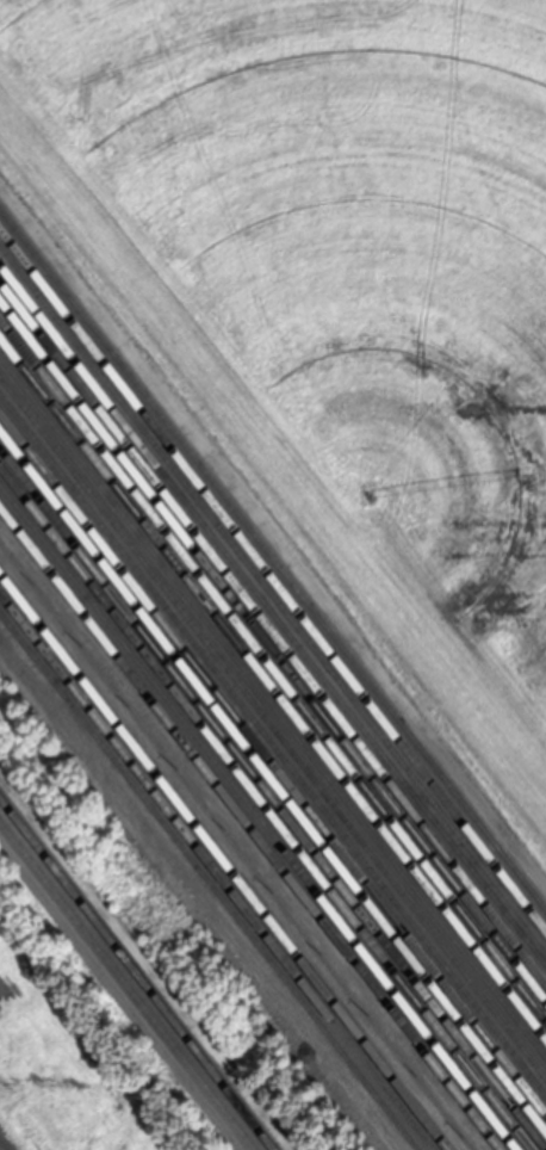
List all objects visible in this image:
crop: (339, 290)
road: (273, 539)
railway: (273, 559)
railway: (273, 580)
railway: (273, 598)
railway: (273, 613)
railway: (273, 632)
railway: (273, 648)
railway: (273, 667)
railway: (273, 687)
railway: (273, 707)
railway: (273, 728)
railway: (273, 744)
railway: (273, 762)
railway: (273, 780)
railway: (273, 798)
railway: (266, 808)
railway: (259, 817)
railway: (250, 828)
railway: (224, 861)
railway: (216, 872)
railway: (209, 882)
road: (199, 894)
railway: (137, 973)
railway: (126, 985)
road: (122, 995)
crop: (66, 1064)

